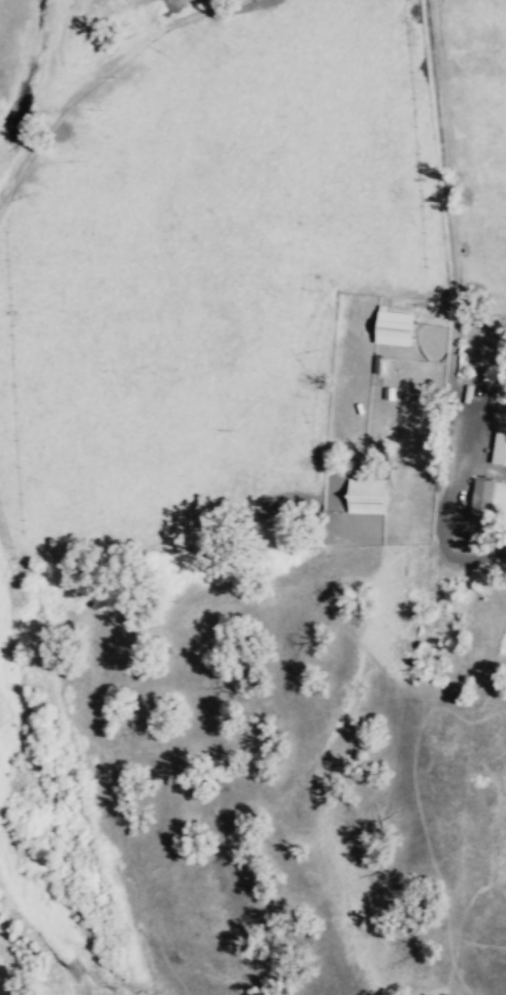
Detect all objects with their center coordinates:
building: (395, 326)
building: (500, 444)
building: (366, 494)
building: (482, 498)

